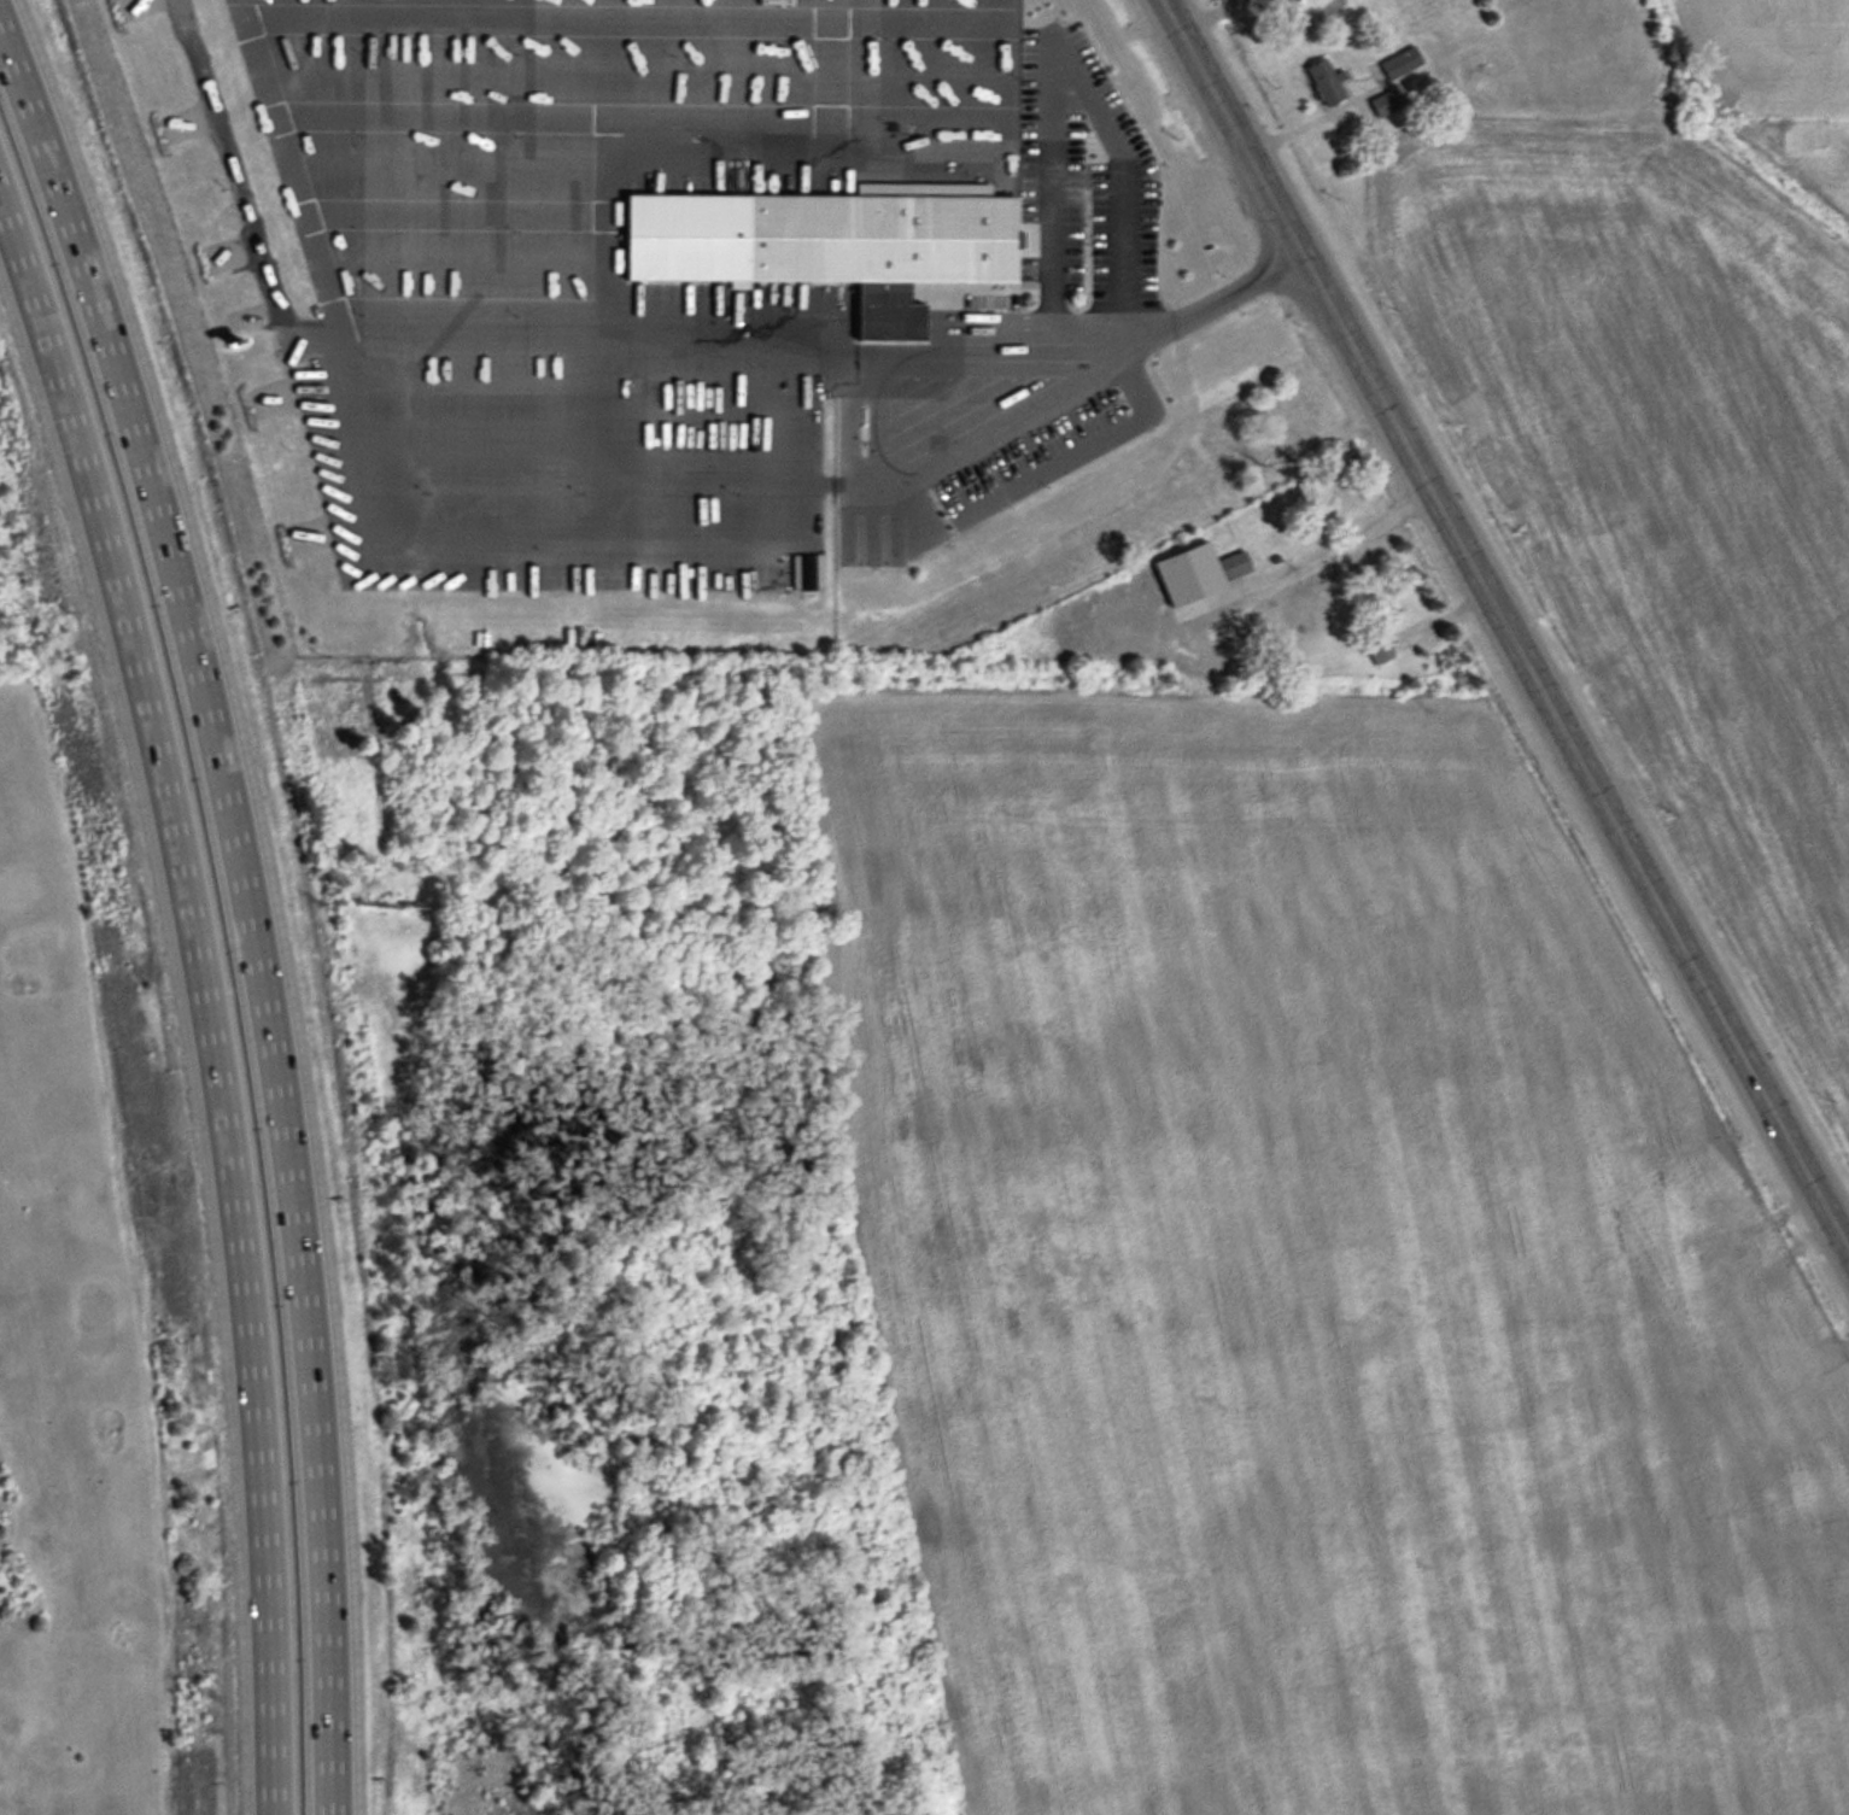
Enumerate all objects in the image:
building: (1282, 5)
building: (1048, 41)
building: (1399, 64)
road: (1065, 66)
building: (1473, 69)
building: (1324, 81)
building: (1029, 82)
building: (1386, 104)
building: (873, 238)
building: (1287, 433)
crop: (1677, 439)
building: (1288, 463)
road: (924, 470)
building: (1315, 494)
road: (1317, 555)
building: (1195, 570)
road: (1504, 626)
building: (1376, 632)
road: (256, 892)
road: (200, 1003)
crop: (1311, 1278)

